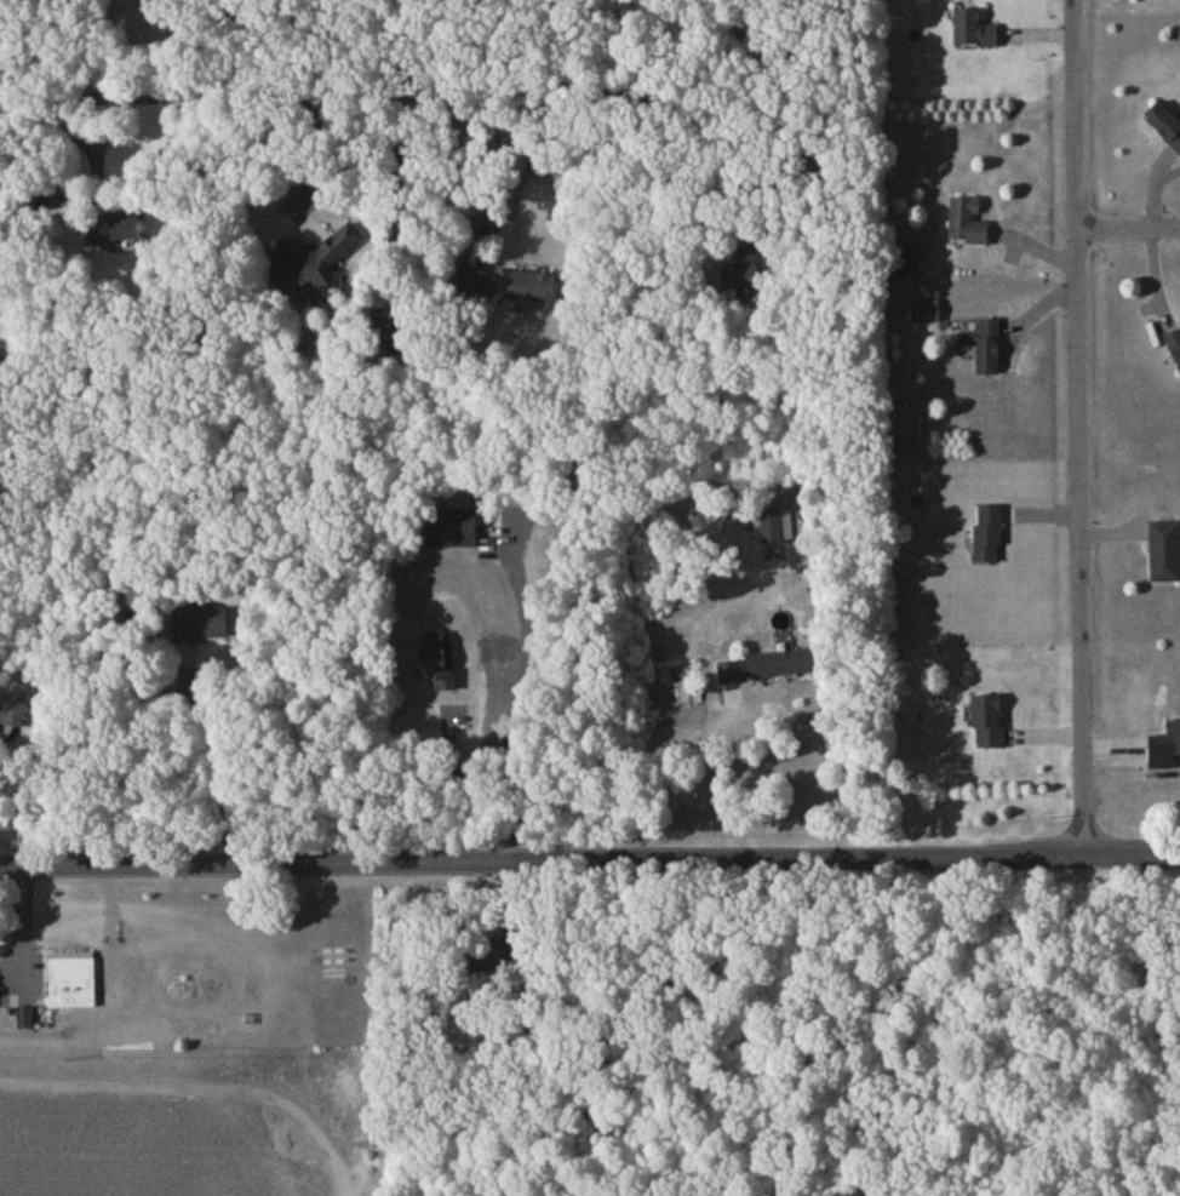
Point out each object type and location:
building: (975, 34)
road: (390, 76)
building: (1165, 128)
building: (969, 228)
building: (120, 234)
road: (1127, 234)
building: (314, 265)
building: (739, 271)
building: (526, 290)
building: (927, 315)
building: (1175, 347)
building: (990, 349)
road: (1076, 428)
building: (775, 528)
building: (452, 532)
building: (990, 537)
building: (1165, 554)
building: (200, 626)
building: (437, 665)
building: (783, 668)
road: (520, 700)
building: (13, 715)
building: (990, 725)
building: (1169, 744)
road: (202, 756)
road: (649, 761)
road: (459, 779)
road: (589, 860)
road: (22, 910)
building: (73, 985)
building: (25, 1020)
road: (207, 1076)

